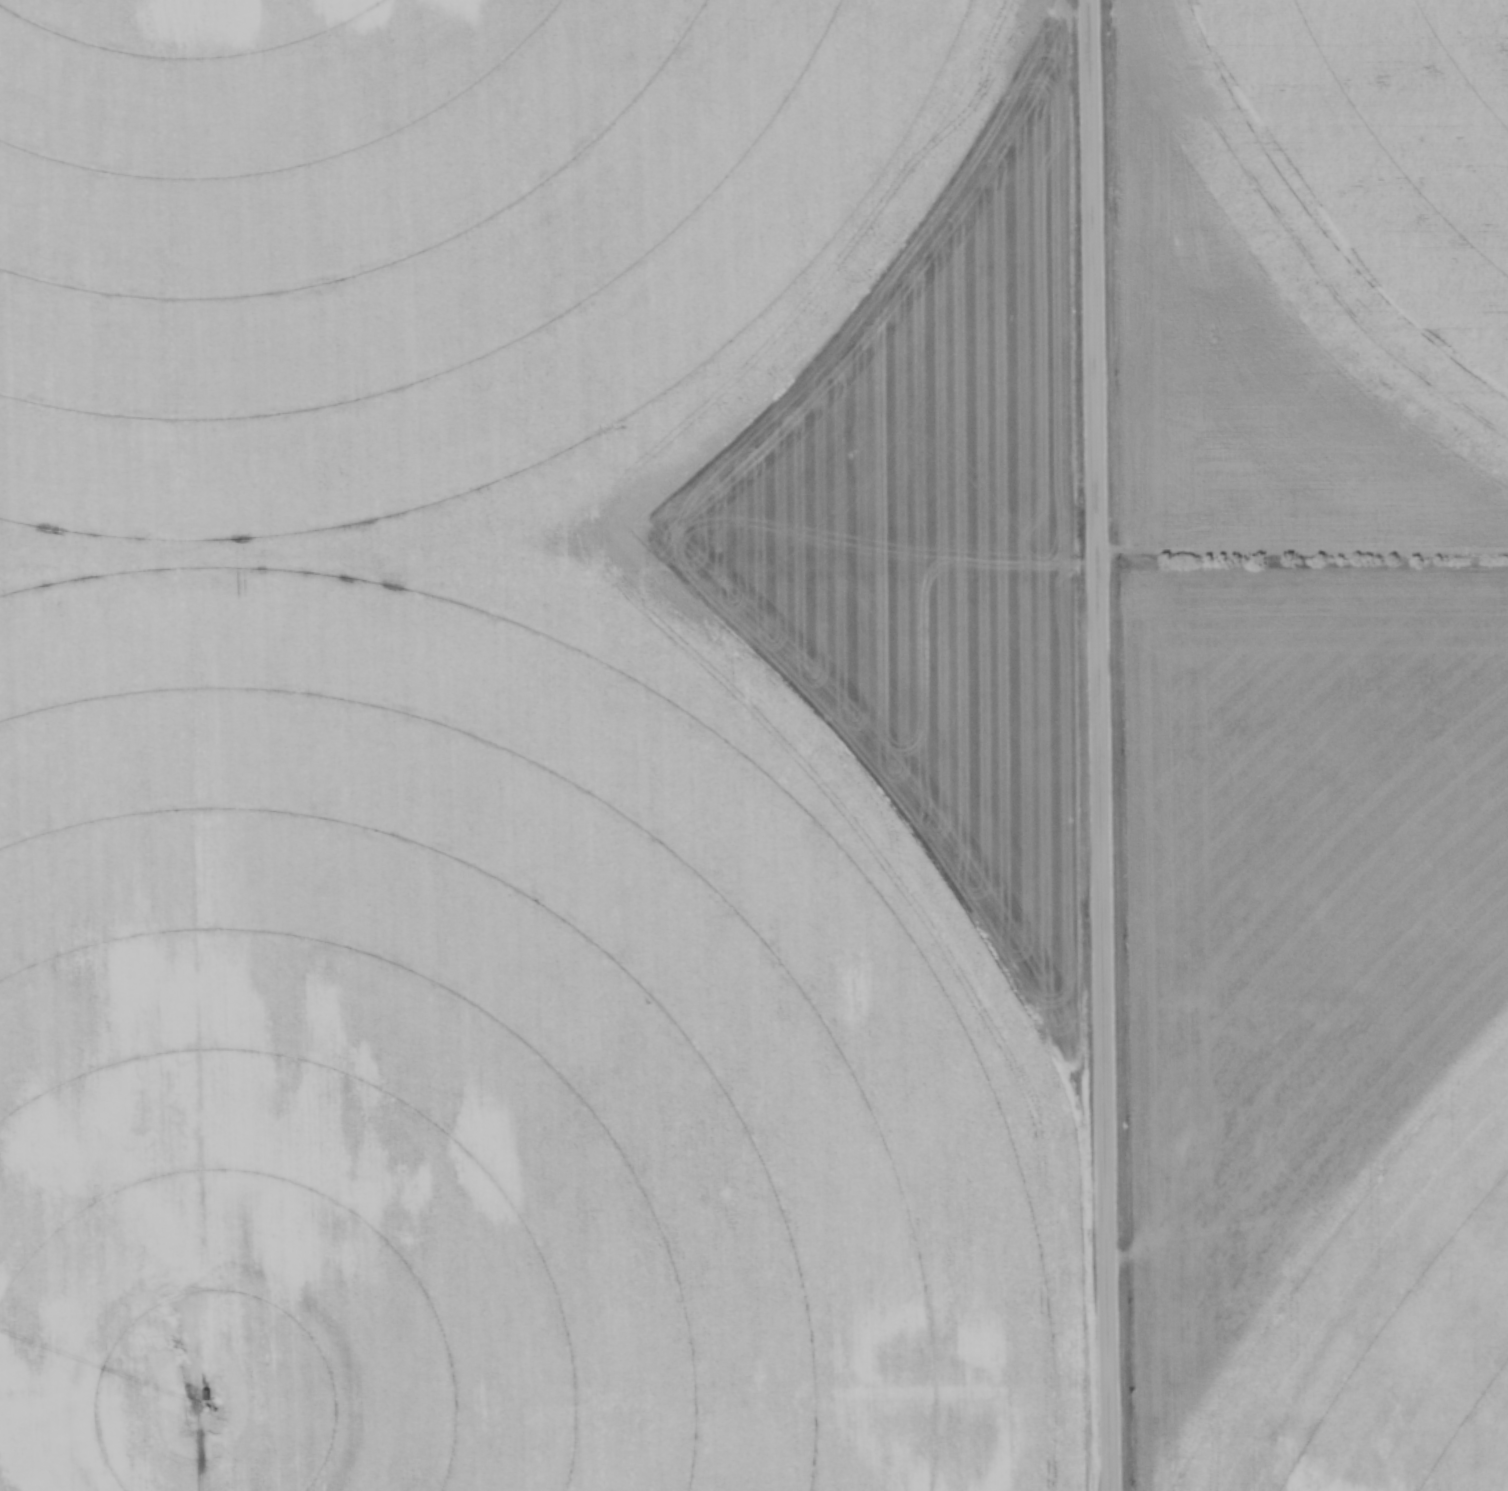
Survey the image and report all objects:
road: (1105, 745)

